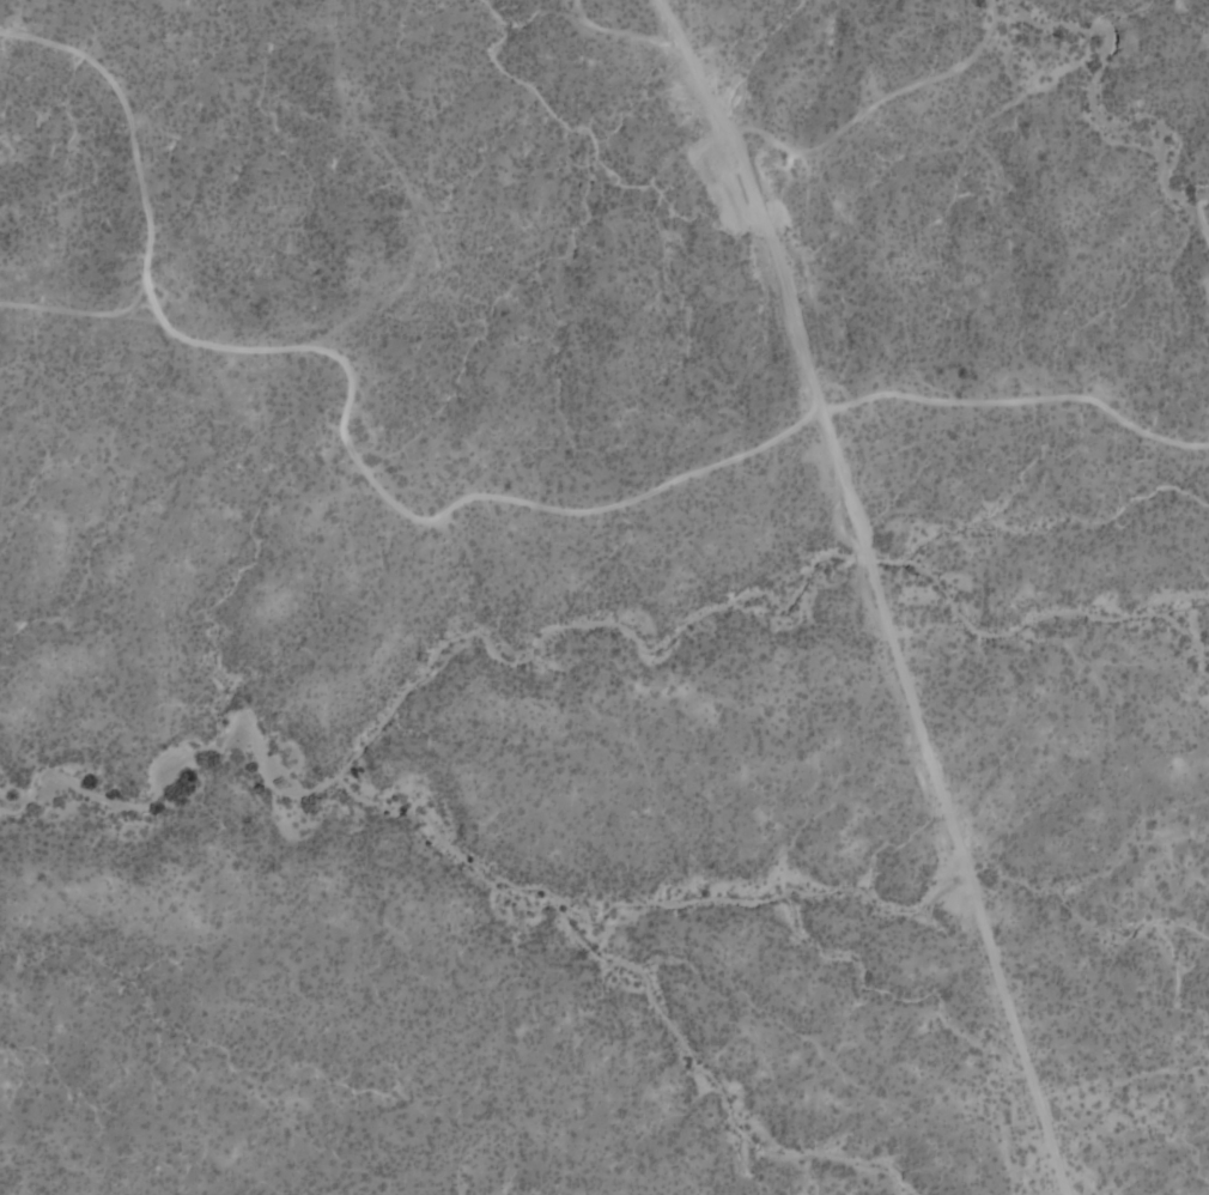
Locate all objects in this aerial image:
road: (1196, 212)
road: (451, 506)
road: (877, 592)

